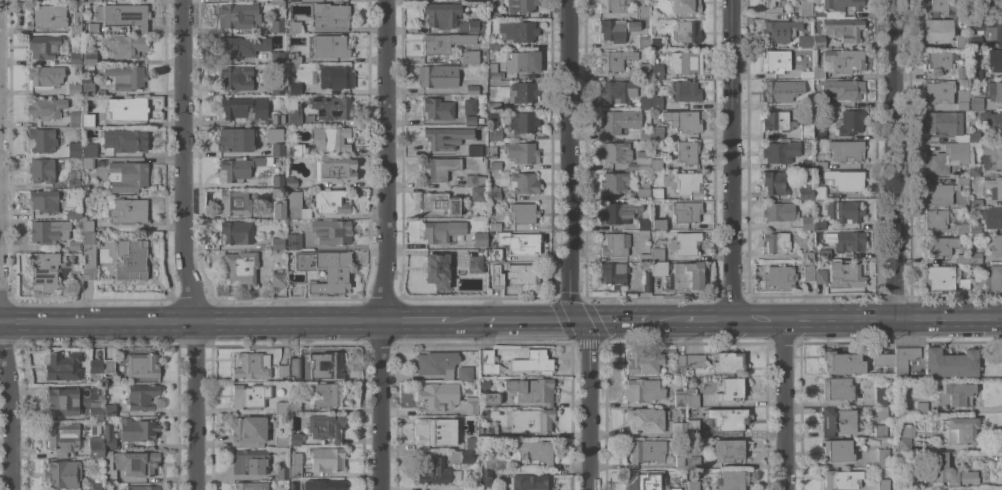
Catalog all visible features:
building: (277, 0)
building: (306, 0)
building: (479, 0)
building: (75, 1)
building: (93, 1)
building: (982, 1)
building: (996, 3)
building: (843, 4)
building: (521, 5)
building: (613, 5)
building: (772, 5)
building: (685, 6)
building: (936, 6)
building: (806, 8)
building: (957, 10)
building: (642, 11)
building: (973, 12)
building: (819, 13)
building: (123, 14)
building: (441, 14)
building: (495, 14)
building: (238, 15)
building: (46, 16)
building: (331, 18)
building: (964, 19)
building: (647, 22)
building: (76, 23)
building: (276, 26)
building: (295, 26)
building: (473, 26)
building: (93, 27)
building: (988, 27)
building: (617, 29)
building: (843, 29)
building: (518, 30)
building: (686, 30)
building: (780, 30)
building: (937, 30)
building: (961, 40)
building: (445, 41)
building: (643, 41)
building: (818, 41)
building: (974, 41)
building: (657, 42)
building: (494, 44)
building: (124, 45)
building: (45, 46)
building: (241, 46)
building: (332, 46)
building: (277, 56)
building: (472, 57)
building: (972, 57)
building: (75, 58)
building: (89, 59)
building: (295, 59)
building: (615, 59)
building: (941, 59)
building: (994, 59)
building: (777, 60)
building: (846, 60)
building: (523, 61)
building: (685, 61)
building: (644, 70)
building: (657, 70)
building: (495, 71)
building: (818, 72)
building: (962, 72)
building: (976, 72)
building: (807, 74)
building: (45, 75)
building: (436, 75)
building: (126, 76)
building: (236, 77)
building: (335, 79)
building: (656, 82)
building: (74, 86)
building: (87, 86)
building: (473, 86)
building: (277, 87)
building: (295, 88)
building: (844, 88)
building: (618, 90)
building: (778, 91)
building: (998, 91)
building: (522, 92)
building: (685, 92)
building: (939, 92)
building: (962, 98)
building: (645, 102)
building: (656, 102)
building: (975, 102)
building: (494, 105)
building: (332, 106)
building: (470, 106)
building: (127, 107)
building: (244, 107)
building: (46, 108)
building: (438, 108)
building: (293, 115)
building: (492, 115)
building: (277, 117)
building: (75, 118)
building: (87, 119)
building: (470, 119)
building: (481, 119)
building: (620, 120)
building: (776, 120)
building: (522, 121)
building: (688, 121)
building: (850, 121)
building: (990, 121)
building: (944, 122)
building: (805, 130)
building: (657, 132)
building: (819, 133)
building: (273, 134)
building: (495, 134)
building: (645, 135)
building: (972, 136)
building: (962, 137)
building: (440, 138)
building: (41, 139)
building: (125, 139)
building: (235, 139)
building: (320, 142)
building: (74, 149)
building: (88, 149)
building: (277, 149)
building: (477, 149)
building: (846, 149)
building: (492, 151)
building: (780, 151)
building: (523, 152)
building: (616, 152)
building: (687, 152)
building: (992, 154)
building: (946, 157)
building: (643, 159)
road: (730, 159)
road: (893, 159)
building: (88, 162)
building: (656, 163)
building: (806, 163)
building: (820, 164)
building: (495, 165)
building: (239, 167)
building: (439, 168)
building: (43, 169)
building: (335, 169)
building: (974, 169)
building: (127, 176)
building: (73, 178)
building: (474, 179)
building: (845, 179)
building: (277, 180)
building: (962, 180)
building: (291, 181)
building: (775, 181)
building: (524, 182)
building: (615, 182)
building: (688, 182)
building: (994, 187)
building: (643, 191)
building: (806, 191)
building: (494, 192)
building: (819, 192)
building: (478, 193)
building: (656, 193)
building: (938, 193)
building: (307, 195)
building: (44, 200)
building: (332, 200)
building: (233, 202)
building: (976, 202)
building: (439, 203)
building: (297, 206)
building: (279, 209)
building: (127, 210)
building: (685, 211)
building: (780, 211)
building: (844, 211)
building: (523, 212)
building: (616, 212)
building: (74, 213)
building: (992, 218)
building: (935, 219)
building: (807, 222)
building: (658, 223)
building: (87, 224)
building: (644, 224)
building: (819, 224)
building: (497, 226)
building: (961, 228)
building: (974, 228)
building: (48, 231)
building: (236, 231)
building: (331, 231)
building: (441, 231)
building: (88, 238)
building: (479, 238)
building: (844, 239)
building: (294, 241)
building: (777, 242)
building: (277, 243)
building: (520, 243)
building: (685, 243)
building: (73, 244)
building: (615, 244)
road: (181, 245)
road: (381, 245)
building: (940, 245)
building: (996, 245)
road: (569, 246)
building: (494, 253)
building: (657, 253)
building: (825, 253)
building: (806, 254)
building: (643, 257)
building: (974, 257)
building: (131, 259)
building: (475, 264)
building: (241, 266)
building: (438, 268)
building: (659, 268)
building: (43, 270)
building: (808, 270)
building: (332, 272)
building: (88, 273)
building: (846, 273)
building: (613, 274)
building: (495, 275)
building: (686, 275)
building: (778, 276)
building: (820, 276)
building: (523, 277)
building: (940, 277)
building: (994, 278)
building: (277, 279)
building: (76, 281)
building: (647, 281)
building: (294, 283)
building: (962, 283)
road: (666, 319)
road: (706, 319)
road: (866, 319)
road: (465, 320)
road: (530, 320)
traffic signals: (577, 320)
road: (613, 320)
road: (190, 321)
road: (413, 321)
building: (487, 356)
building: (904, 358)
building: (883, 359)
building: (695, 360)
building: (644, 361)
building: (533, 362)
building: (728, 362)
building: (842, 362)
building: (950, 362)
building: (437, 363)
building: (680, 364)
building: (95, 365)
building: (108, 365)
building: (251, 365)
building: (324, 365)
building: (63, 366)
building: (142, 367)
building: (294, 367)
building: (489, 368)
building: (283, 370)
building: (465, 373)
building: (485, 384)
building: (837, 388)
building: (532, 389)
building: (643, 389)
building: (731, 389)
building: (956, 393)
building: (328, 394)
building: (436, 395)
building: (880, 395)
building: (141, 396)
building: (247, 396)
building: (685, 396)
building: (490, 398)
building: (63, 401)
road: (783, 404)
building: (281, 405)
building: (471, 405)
building: (295, 407)
building: (922, 407)
building: (110, 409)
building: (880, 411)
building: (96, 413)
road: (9, 414)
building: (727, 418)
building: (646, 419)
building: (530, 420)
building: (837, 420)
building: (325, 426)
building: (692, 427)
building: (137, 429)
building: (678, 429)
building: (960, 429)
building: (249, 430)
building: (881, 430)
building: (489, 431)
building: (433, 433)
building: (65, 436)
building: (109, 437)
building: (905, 437)
building: (294, 438)
building: (471, 438)
building: (281, 440)
building: (95, 446)
building: (645, 450)
building: (729, 450)
building: (838, 450)
building: (534, 451)
building: (462, 456)
building: (327, 458)
building: (883, 458)
building: (250, 461)
building: (693, 461)
building: (492, 462)
building: (138, 463)
building: (295, 464)
building: (109, 467)
building: (282, 471)
building: (436, 471)
building: (948, 471)
building: (63, 473)
building: (485, 478)
building: (841, 479)
building: (642, 480)
building: (732, 480)
building: (532, 482)
building: (883, 484)
building: (328, 485)
building: (693, 485)
building: (97, 486)
building: (251, 486)
building: (143, 487)
building: (471, 488)
building: (674, 488)
building: (956, 489)

